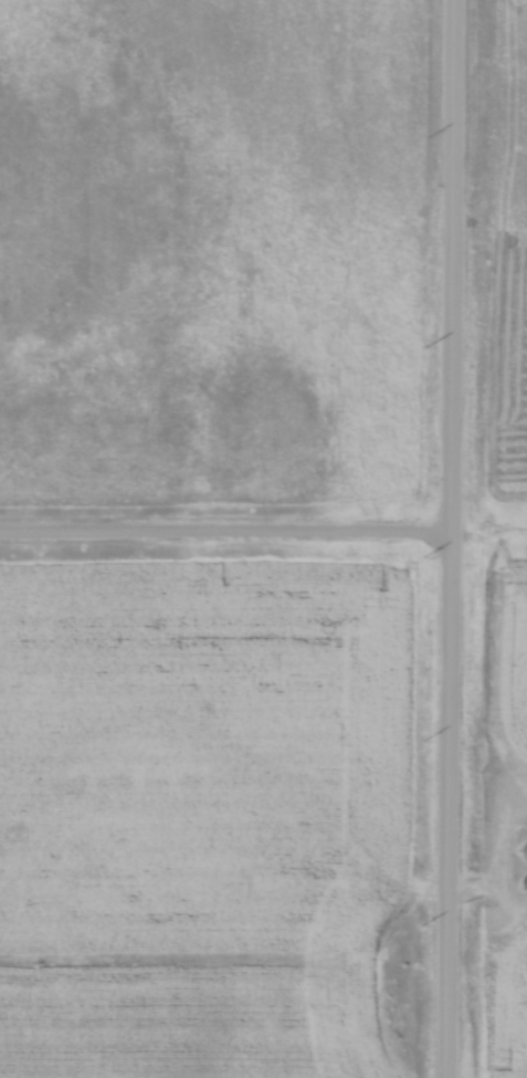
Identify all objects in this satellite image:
road: (225, 537)
road: (451, 538)

